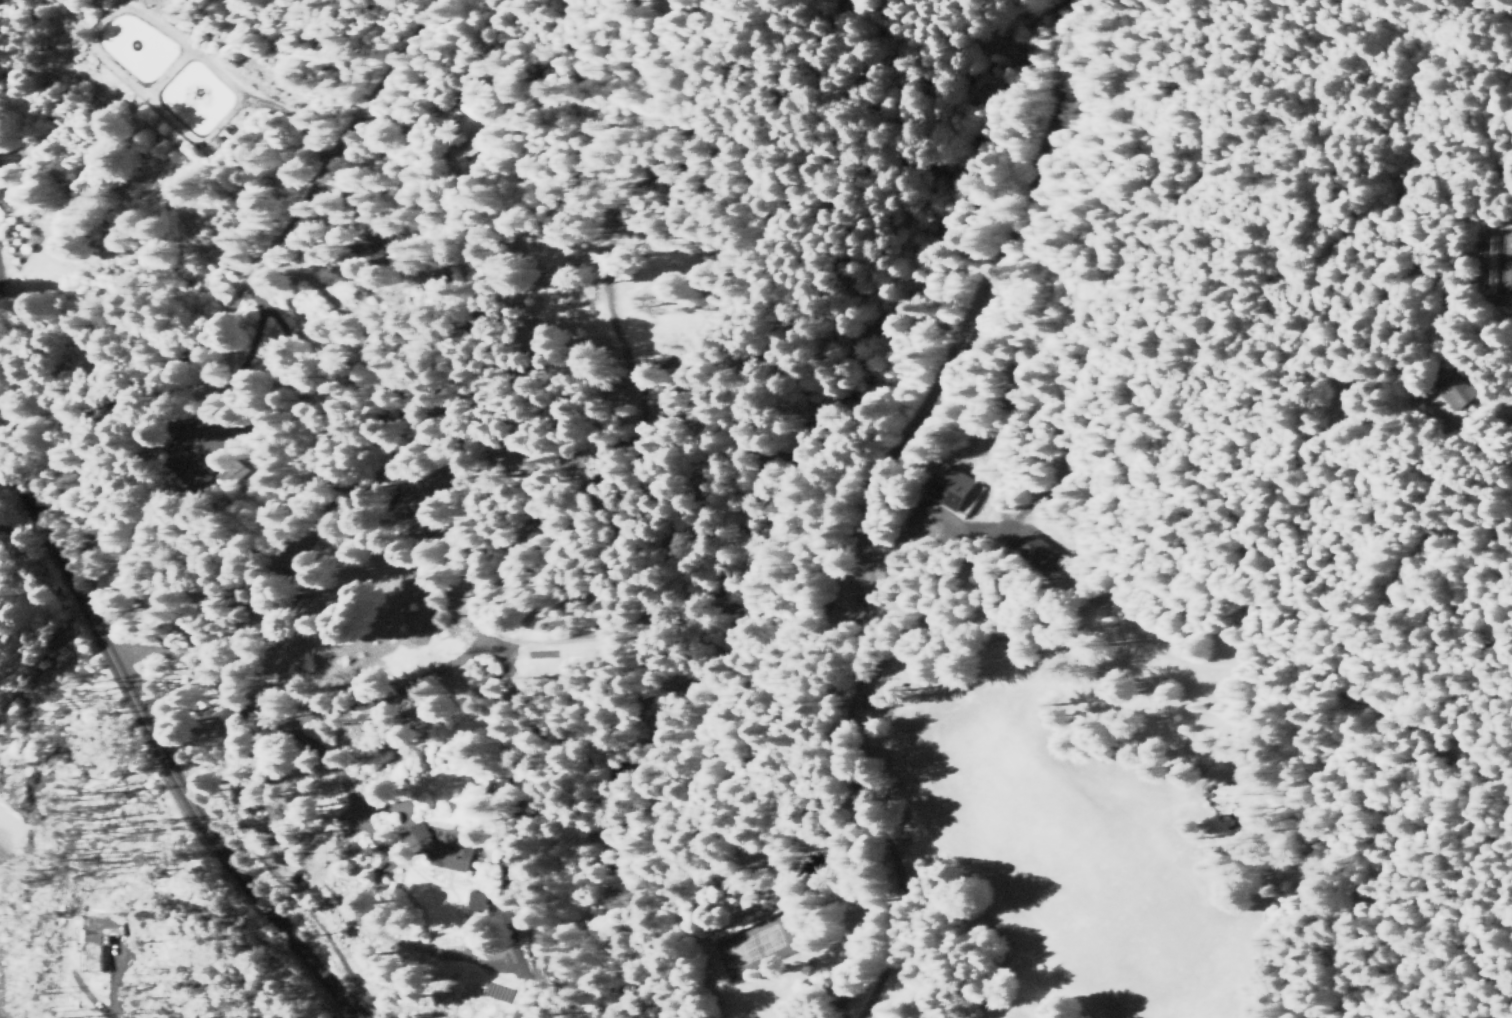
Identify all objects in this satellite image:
road: (257, 251)
building: (1511, 257)
building: (1455, 391)
building: (949, 485)
road: (277, 744)
road: (168, 759)
building: (440, 848)
building: (476, 901)
building: (101, 937)

